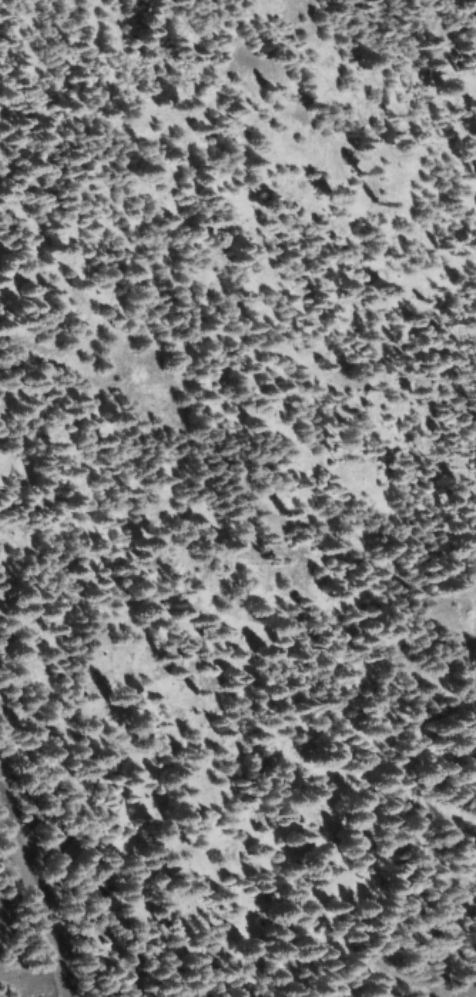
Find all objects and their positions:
road: (52, 842)

